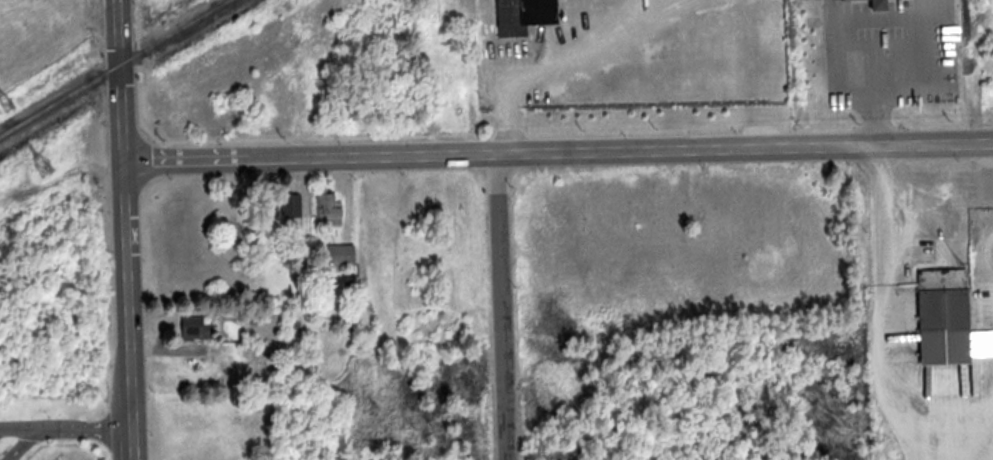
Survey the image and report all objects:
building: (529, 15)
railway: (118, 70)
road: (124, 78)
power tower: (12, 102)
road: (559, 149)
power tower: (47, 166)
building: (330, 208)
building: (346, 255)
road: (506, 305)
road: (130, 308)
building: (948, 317)
building: (197, 327)
building: (228, 362)
road: (67, 434)

